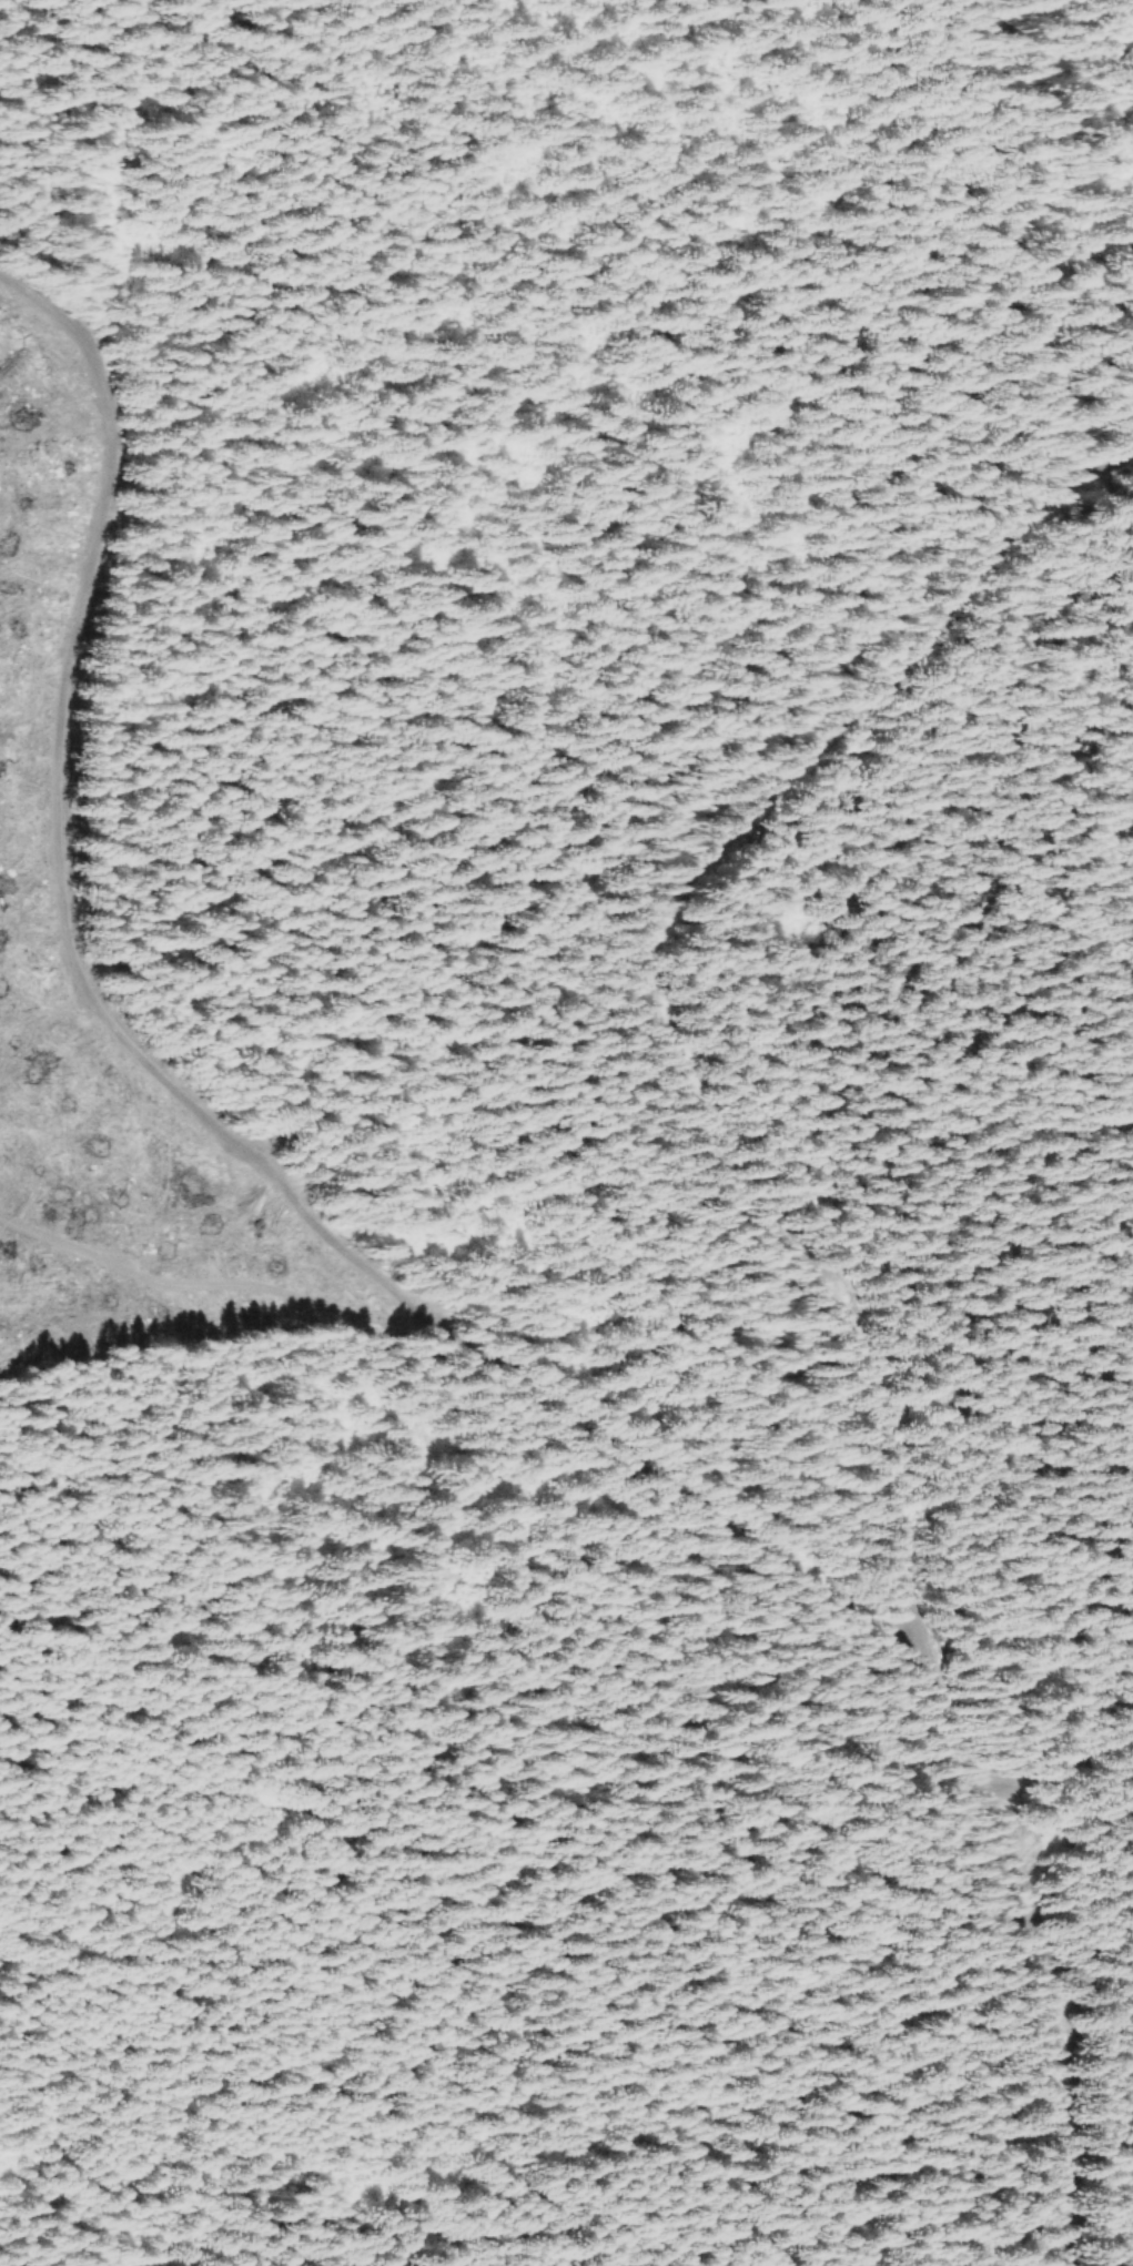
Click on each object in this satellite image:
road: (194, 1100)
road: (799, 1262)
road: (1060, 1773)

